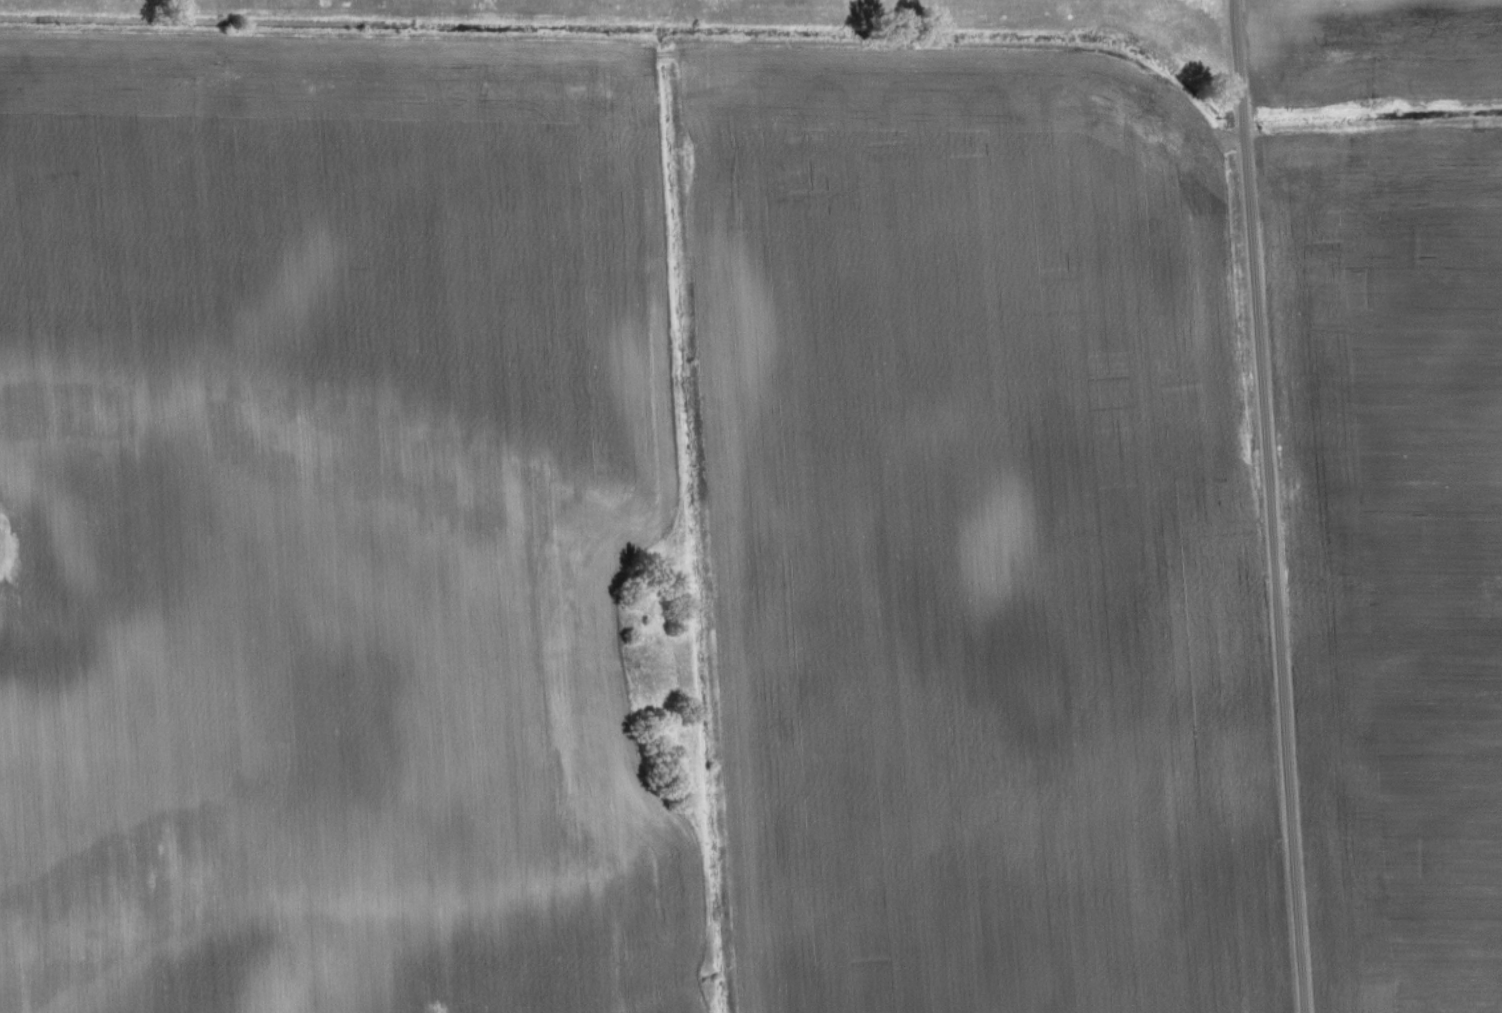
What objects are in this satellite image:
road: (1270, 506)

